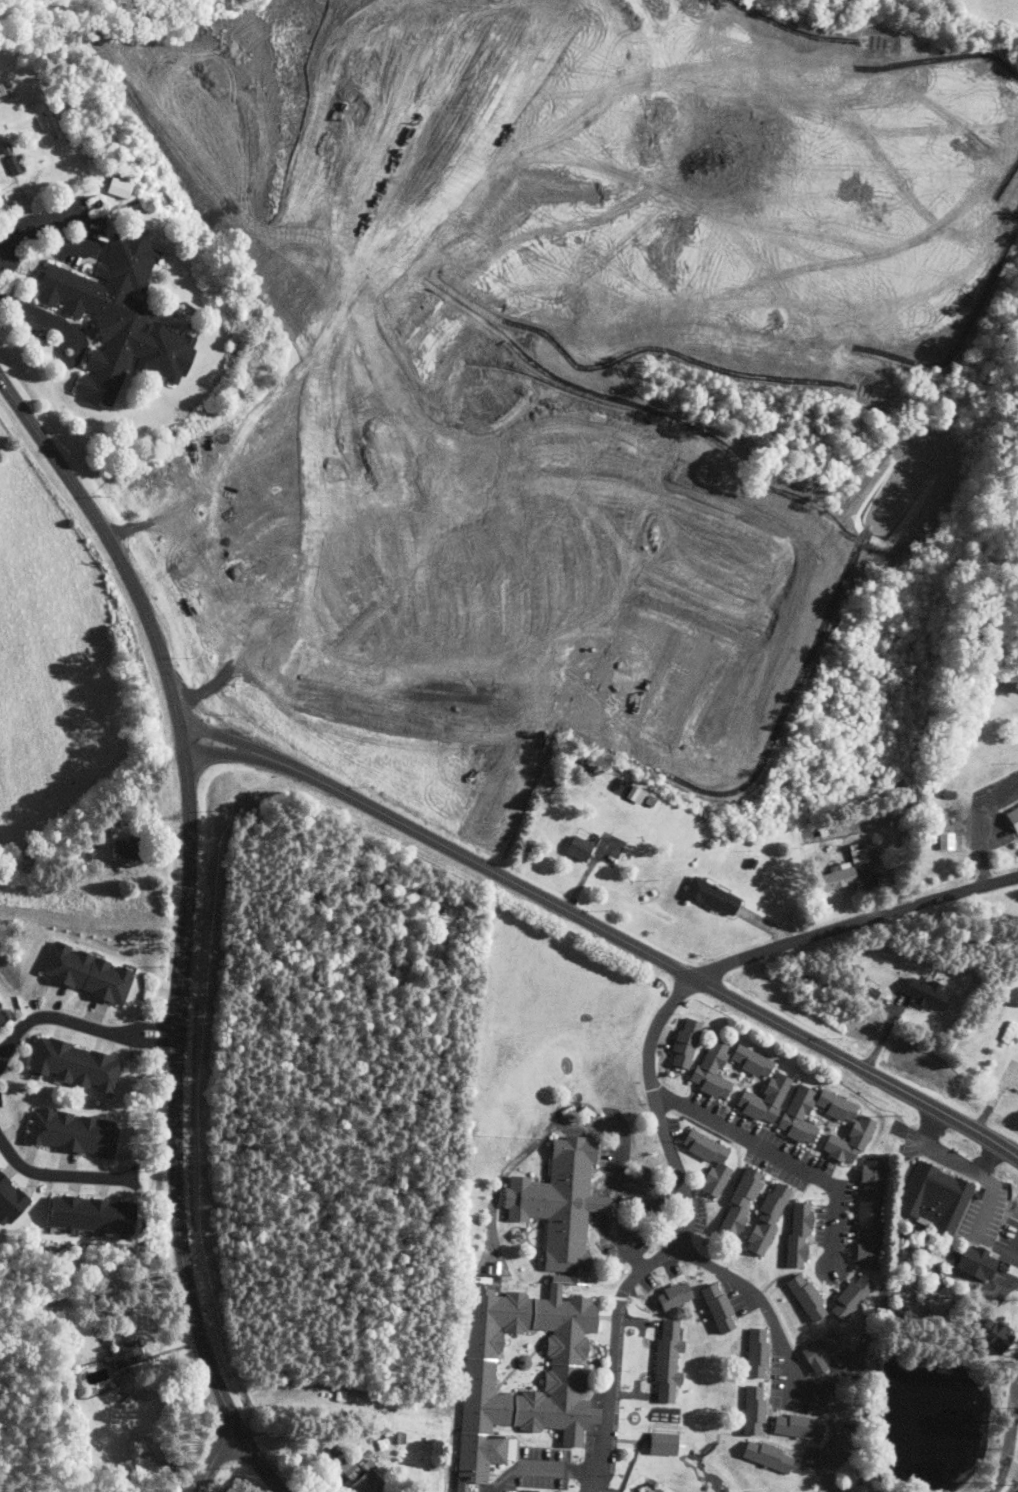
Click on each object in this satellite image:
building: (15, 164)
building: (120, 187)
road: (26, 231)
road: (87, 236)
road: (34, 313)
building: (122, 319)
road: (67, 360)
road: (52, 453)
road: (152, 630)
road: (229, 739)
road: (227, 753)
road: (189, 812)
building: (1010, 816)
building: (943, 840)
building: (575, 847)
building: (834, 877)
building: (707, 896)
road: (853, 922)
road: (649, 954)
building: (87, 974)
road: (182, 982)
building: (865, 991)
building: (923, 994)
building: (2, 1021)
road: (79, 1024)
building: (683, 1043)
building: (750, 1061)
building: (80, 1065)
building: (711, 1070)
road: (993, 1098)
building: (763, 1099)
building: (833, 1105)
building: (797, 1115)
building: (78, 1132)
building: (847, 1140)
road: (782, 1157)
road: (989, 1160)
building: (717, 1166)
road: (58, 1174)
road: (978, 1174)
road: (602, 1193)
building: (932, 1198)
building: (13, 1200)
building: (737, 1203)
building: (866, 1212)
building: (94, 1215)
building: (765, 1219)
building: (795, 1235)
road: (681, 1241)
building: (972, 1262)
road: (189, 1295)
building: (672, 1295)
building: (849, 1297)
building: (804, 1298)
building: (715, 1308)
building: (531, 1326)
building: (989, 1334)
road: (789, 1349)
building: (754, 1352)
building: (817, 1352)
building: (126, 1354)
building: (665, 1360)
road: (171, 1400)
building: (127, 1401)
building: (751, 1409)
building: (795, 1427)
road: (1009, 1434)
building: (659, 1443)
building: (137, 1450)
building: (762, 1455)
road: (215, 1457)
road: (545, 1467)
building: (347, 1470)
building: (363, 1476)

